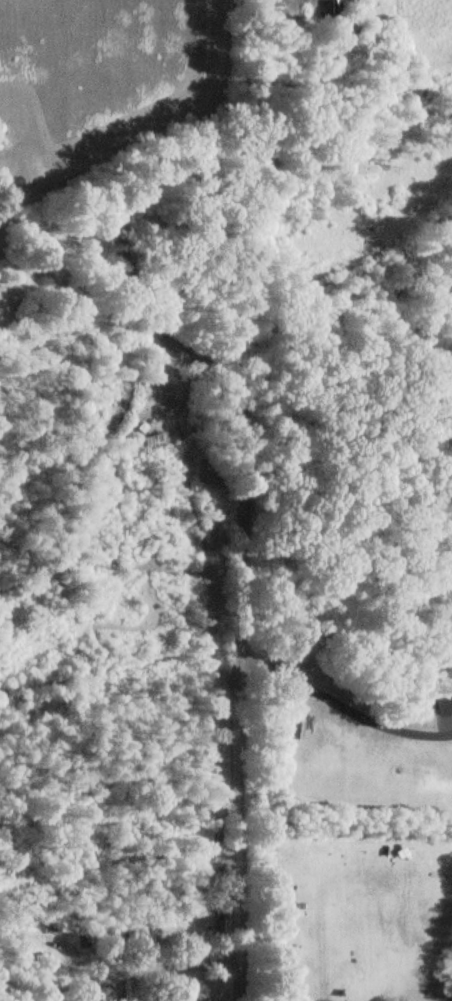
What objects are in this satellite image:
road: (159, 150)
road: (219, 567)
road: (333, 703)
building: (196, 912)
building: (215, 929)
building: (126, 933)
road: (142, 966)
building: (196, 988)
building: (121, 991)
road: (319, 998)

